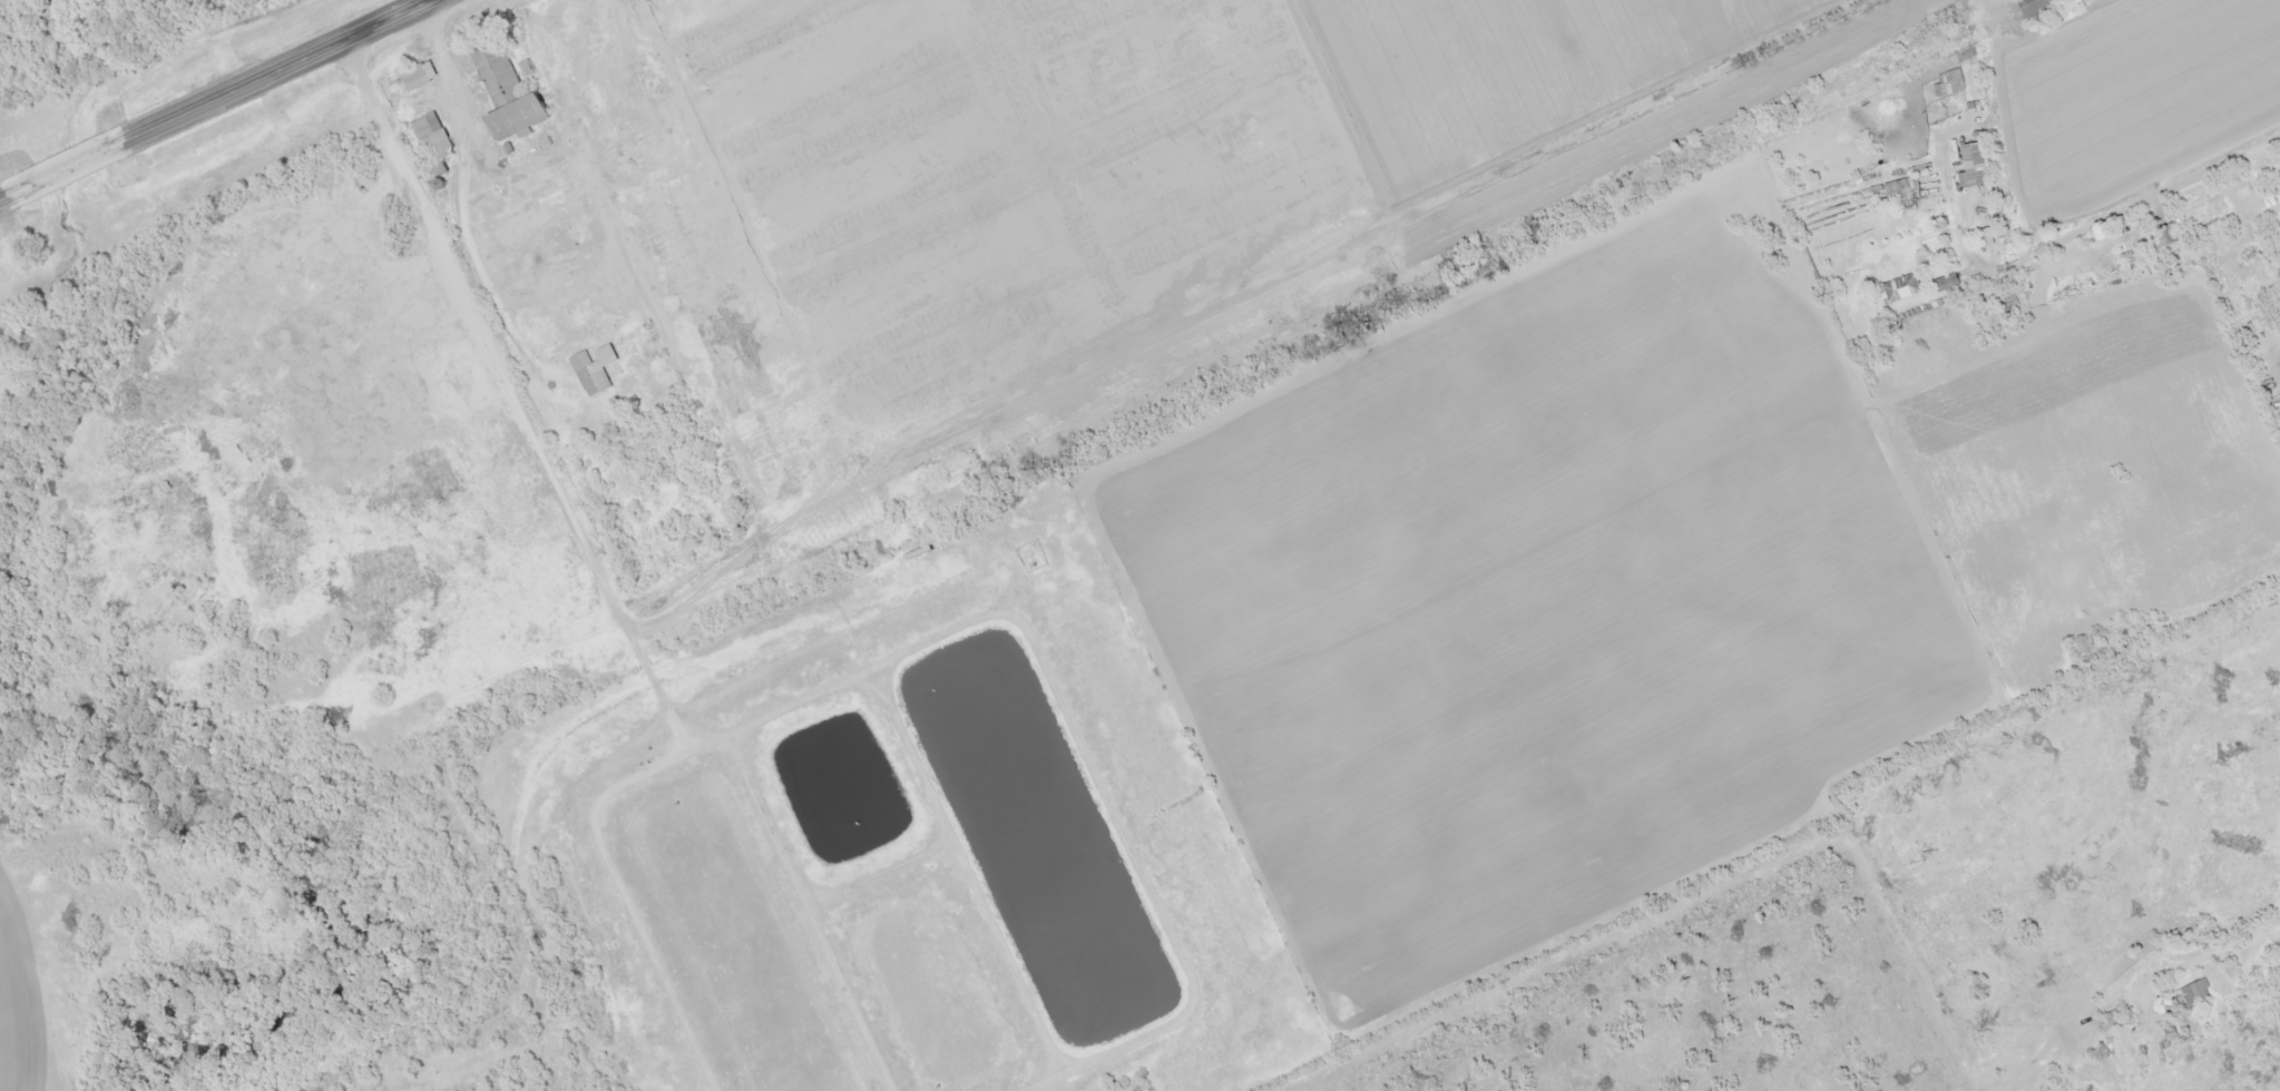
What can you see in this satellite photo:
building: (2035, 8)
building: (421, 77)
building: (1946, 86)
building: (510, 96)
road: (215, 102)
building: (432, 130)
building: (1971, 166)
building: (1901, 193)
road: (2133, 205)
airport runway: (1381, 230)
building: (2166, 236)
road: (622, 238)
building: (1898, 291)
building: (596, 371)
road: (2250, 570)
road: (2258, 938)
building: (2192, 995)
building: (2168, 1035)

